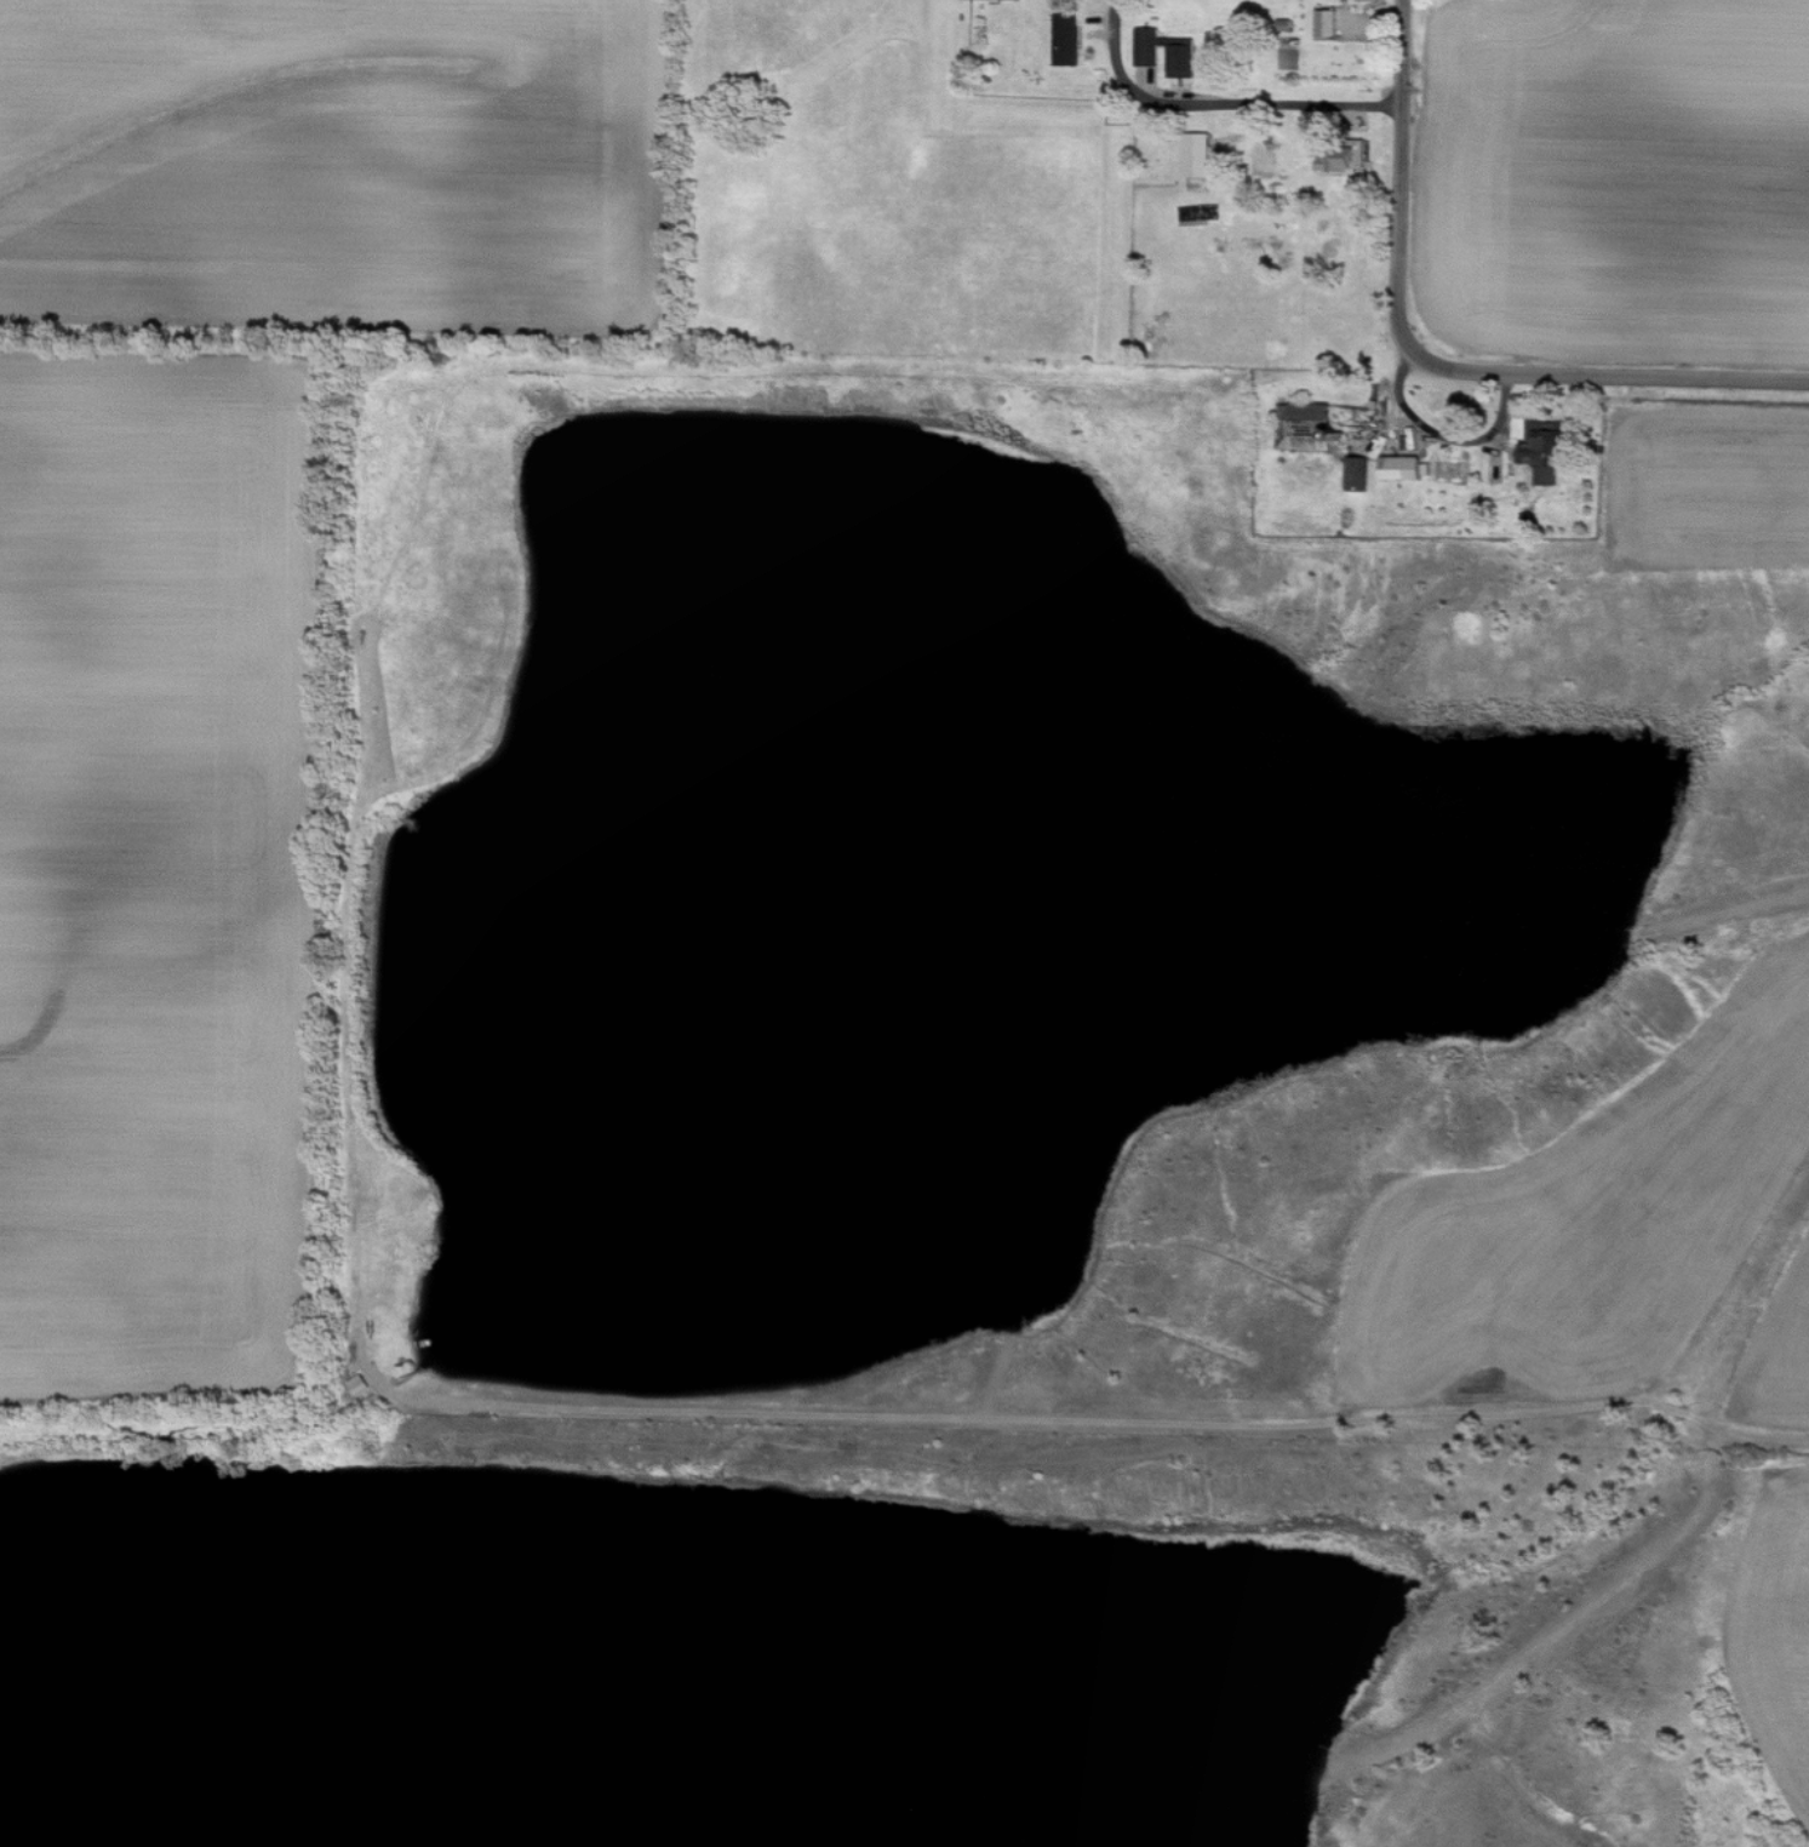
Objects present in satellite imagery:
building: (1017, 0)
building: (1361, 0)
building: (1328, 23)
building: (1069, 42)
building: (1147, 47)
road: (1409, 52)
building: (1184, 59)
road: (1223, 97)
building: (1201, 156)
building: (1343, 160)
road: (1407, 167)
road: (1544, 376)
building: (1309, 427)
building: (1548, 451)
building: (1407, 467)
building: (1357, 473)
road: (1101, 1424)

